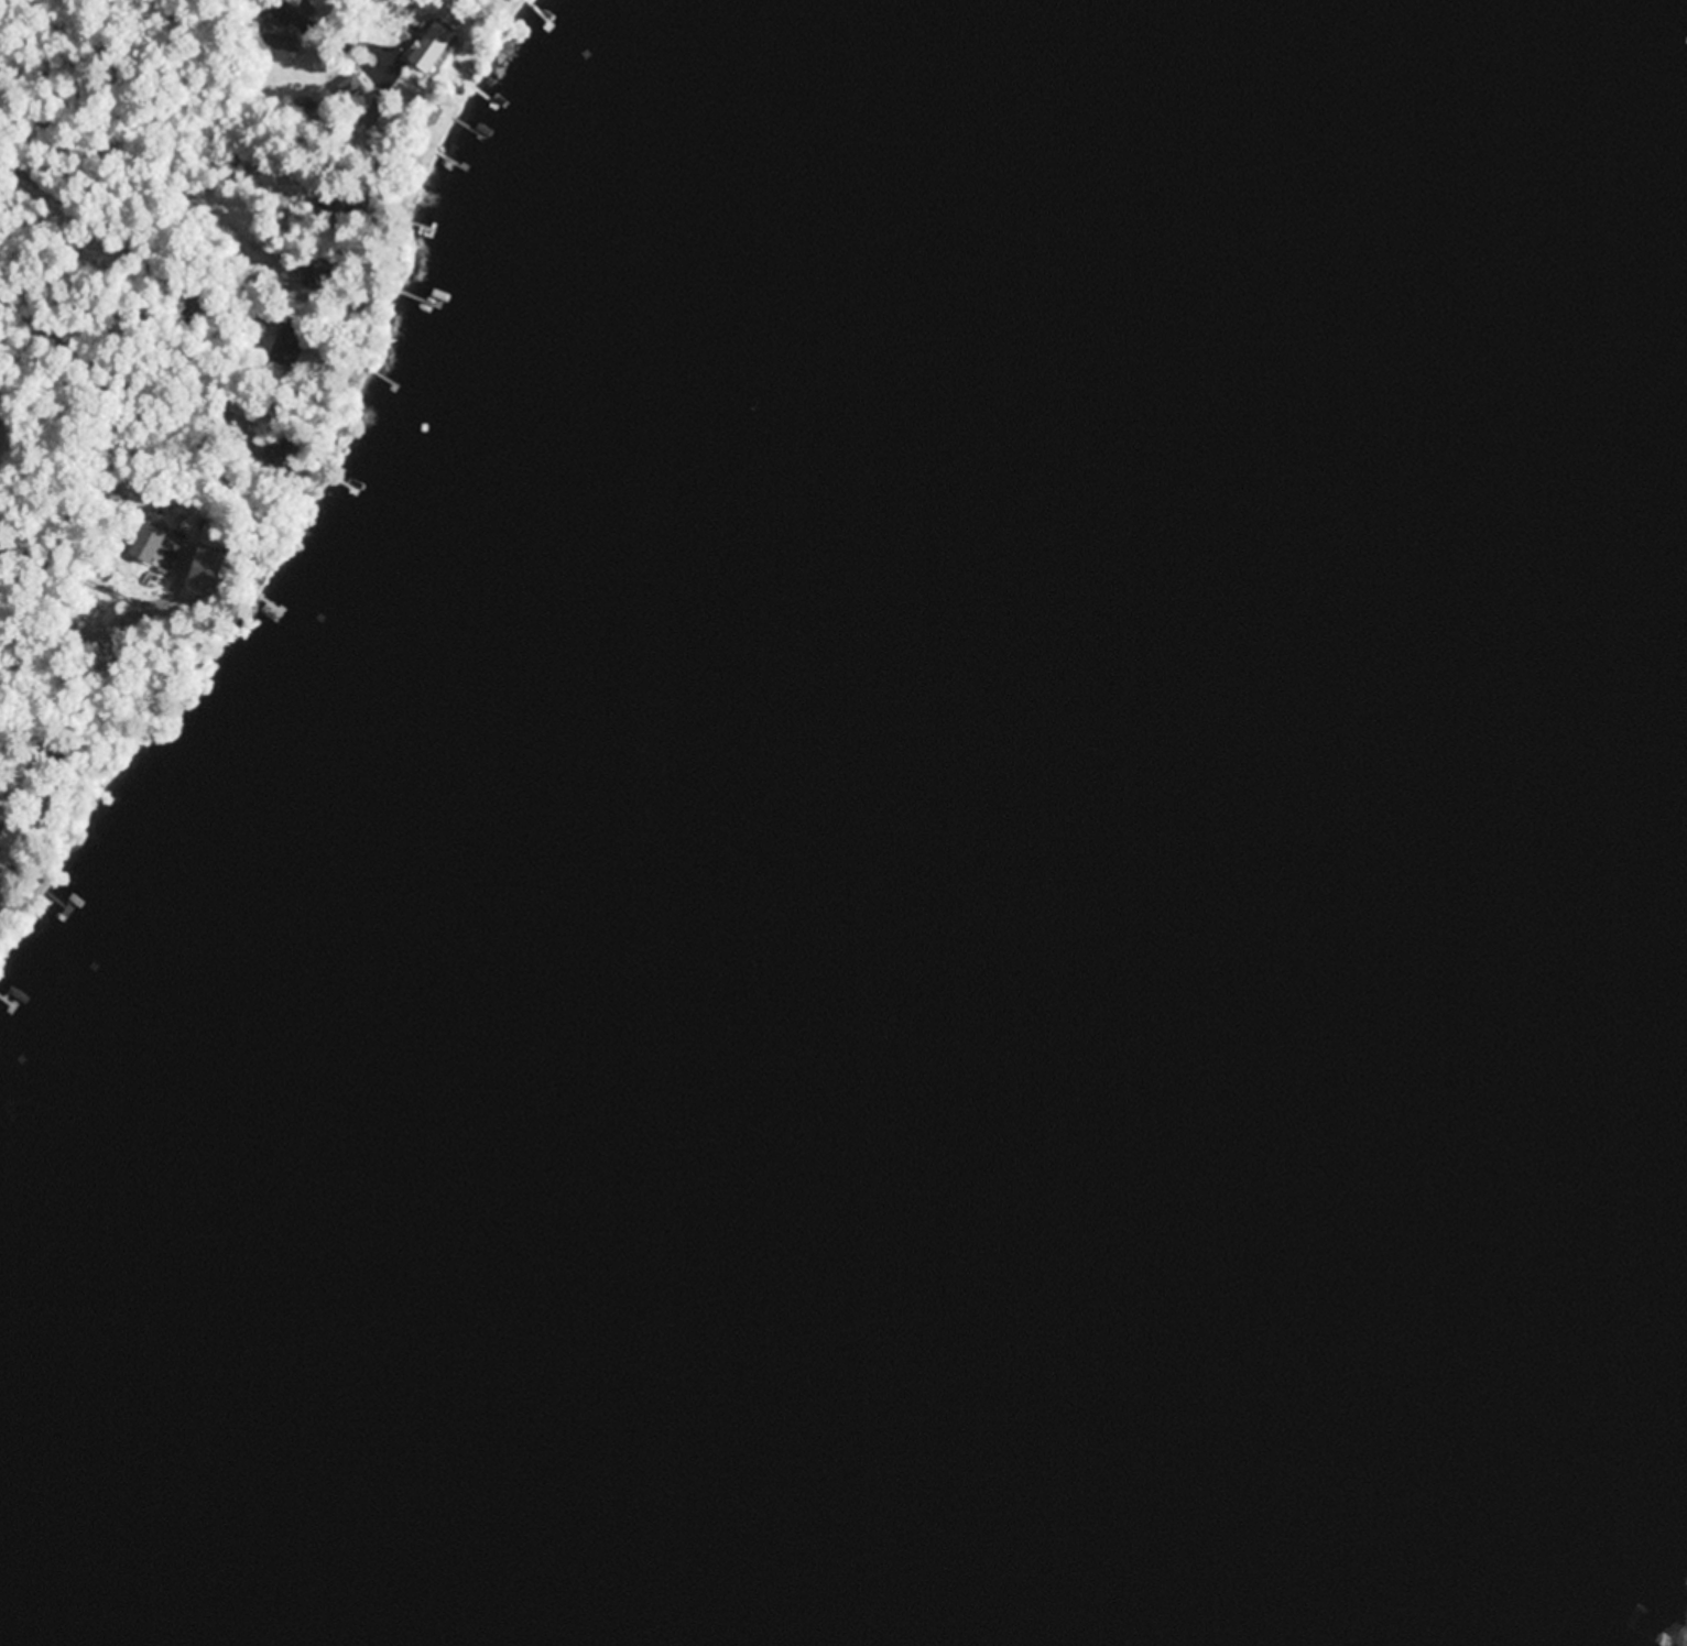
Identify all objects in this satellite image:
road: (325, 34)
building: (436, 47)
building: (287, 342)
building: (138, 552)

